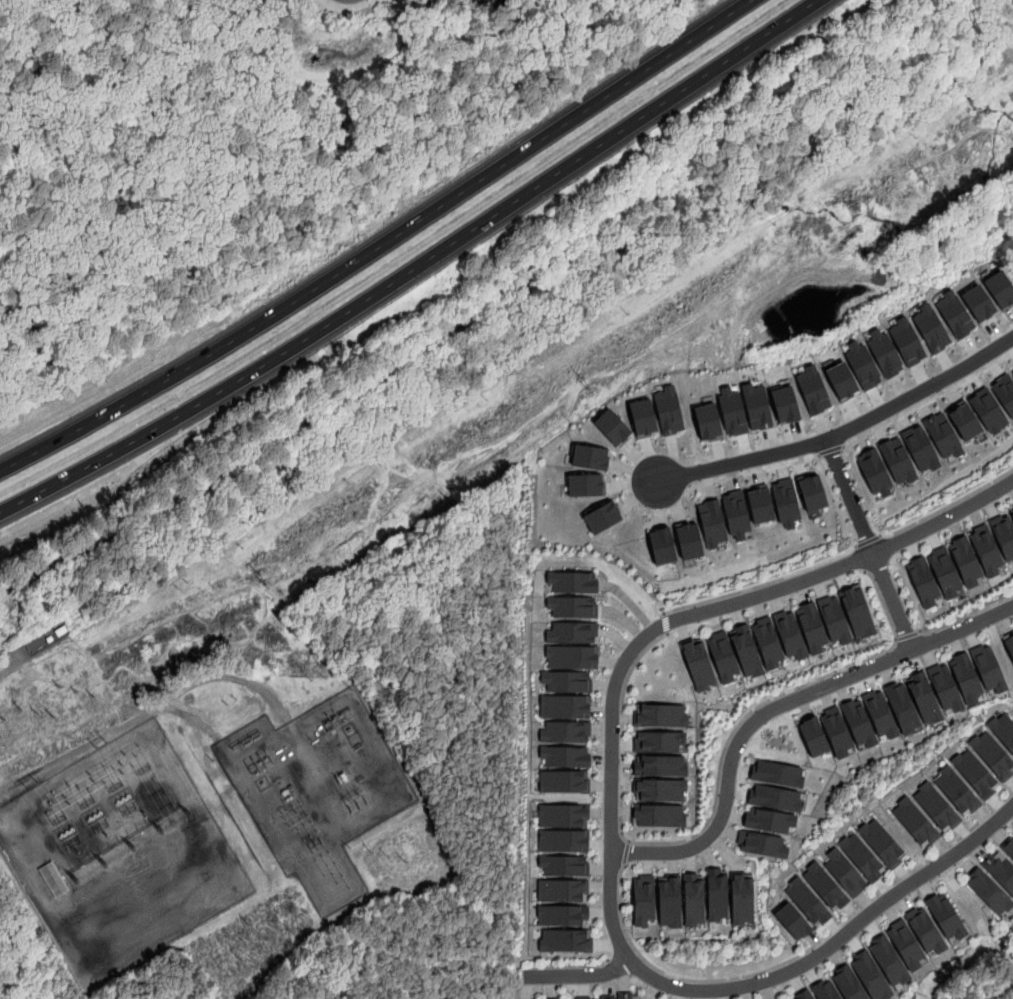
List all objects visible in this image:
road: (977, 4)
road: (751, 162)
power tower: (924, 176)
road: (380, 244)
road: (415, 267)
building: (1000, 289)
building: (978, 303)
building: (954, 314)
building: (931, 328)
road: (508, 334)
building: (906, 341)
building: (883, 352)
building: (861, 363)
building: (1012, 371)
building: (840, 380)
power tower: (585, 381)
building: (812, 390)
building: (1004, 391)
road: (359, 401)
road: (928, 401)
building: (784, 403)
building: (755, 405)
building: (987, 408)
building: (668, 410)
building: (731, 411)
building: (642, 417)
building: (964, 419)
building: (706, 420)
building: (612, 427)
road: (838, 433)
building: (942, 435)
building: (918, 447)
road: (828, 451)
building: (590, 456)
building: (896, 459)
road: (752, 472)
building: (874, 472)
building: (584, 484)
building: (812, 492)
building: (785, 502)
building: (760, 505)
road: (945, 506)
building: (1011, 510)
building: (735, 513)
building: (602, 516)
building: (711, 522)
building: (1003, 534)
building: (688, 540)
road: (867, 540)
road: (236, 541)
road: (869, 543)
road: (99, 544)
building: (662, 546)
road: (215, 549)
building: (986, 550)
road: (861, 557)
building: (965, 561)
road: (809, 566)
building: (944, 571)
power tower: (263, 577)
building: (572, 581)
building: (923, 582)
building: (572, 606)
building: (857, 612)
road: (964, 617)
building: (834, 619)
road: (664, 623)
building: (811, 627)
building: (571, 632)
building: (790, 633)
road: (908, 635)
building: (766, 641)
building: (1009, 646)
building: (746, 650)
building: (723, 655)
building: (571, 656)
building: (697, 663)
building: (988, 667)
building: (966, 677)
building: (566, 681)
building: (945, 688)
power tower: (76, 692)
building: (924, 698)
road: (766, 700)
building: (563, 705)
road: (776, 706)
building: (902, 707)
building: (880, 713)
power tower: (38, 715)
building: (659, 715)
building: (858, 722)
road: (621, 728)
road: (468, 729)
building: (836, 730)
building: (1002, 730)
building: (565, 731)
building: (813, 736)
power tower: (1, 737)
building: (658, 741)
power tower: (100, 743)
building: (992, 754)
building: (565, 756)
building: (660, 765)
road: (440, 773)
building: (777, 773)
building: (975, 773)
building: (563, 781)
power tower: (31, 784)
building: (659, 789)
building: (955, 789)
power substation: (314, 790)
power tower: (353, 796)
building: (774, 798)
building: (935, 805)
building: (562, 814)
building: (658, 815)
road: (611, 819)
building: (768, 820)
building: (914, 820)
power tower: (176, 825)
building: (562, 840)
power tower: (147, 842)
building: (881, 842)
building: (761, 843)
building: (1008, 846)
road: (625, 853)
power substation: (118, 854)
power tower: (388, 856)
building: (861, 856)
power tower: (118, 858)
road: (464, 858)
building: (563, 864)
building: (1000, 869)
building: (844, 872)
power tower: (90, 875)
building: (53, 879)
building: (824, 885)
building: (561, 890)
building: (988, 890)
building: (717, 895)
building: (741, 898)
building: (643, 900)
building: (693, 900)
building: (807, 900)
building: (669, 901)
building: (561, 915)
building: (945, 916)
building: (792, 919)
building: (925, 930)
power tower: (244, 940)
building: (564, 940)
building: (905, 944)
road: (423, 951)
road: (799, 955)
building: (888, 959)
road: (35, 965)
road: (329, 970)
road: (580, 975)
building: (870, 975)
road: (16, 980)
building: (848, 983)
building: (825, 989)
building: (802, 994)
building: (629, 995)
building: (607, 997)
road: (1, 998)
building: (583, 998)
building: (784, 998)

